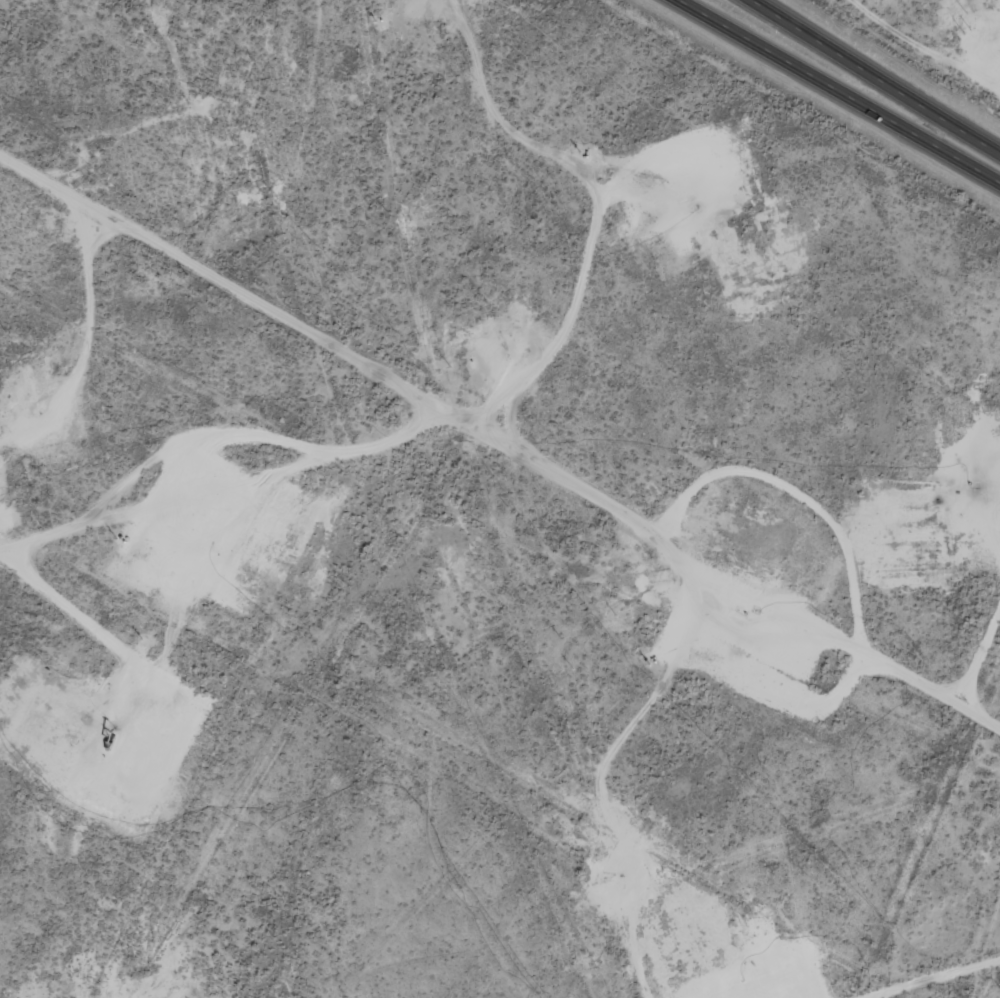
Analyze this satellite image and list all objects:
road: (872, 77)
road: (839, 91)
road: (500, 440)

